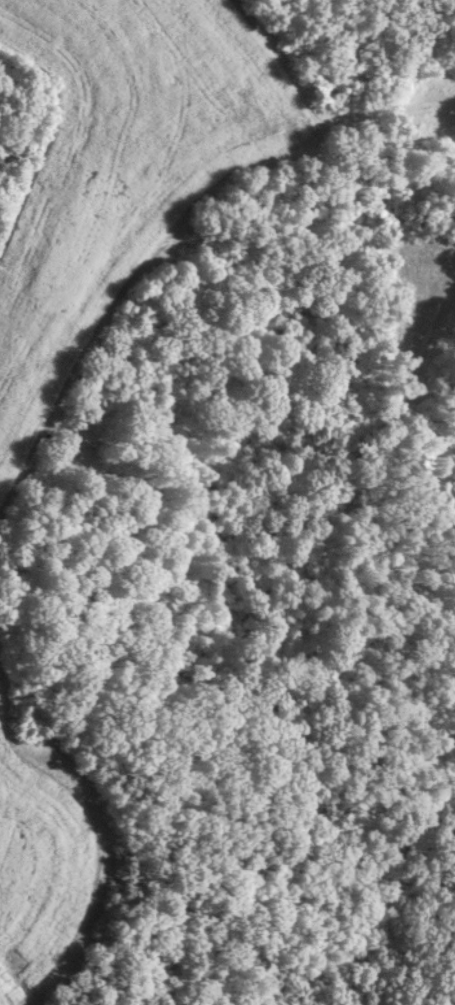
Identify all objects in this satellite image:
road: (321, 103)
road: (124, 209)

